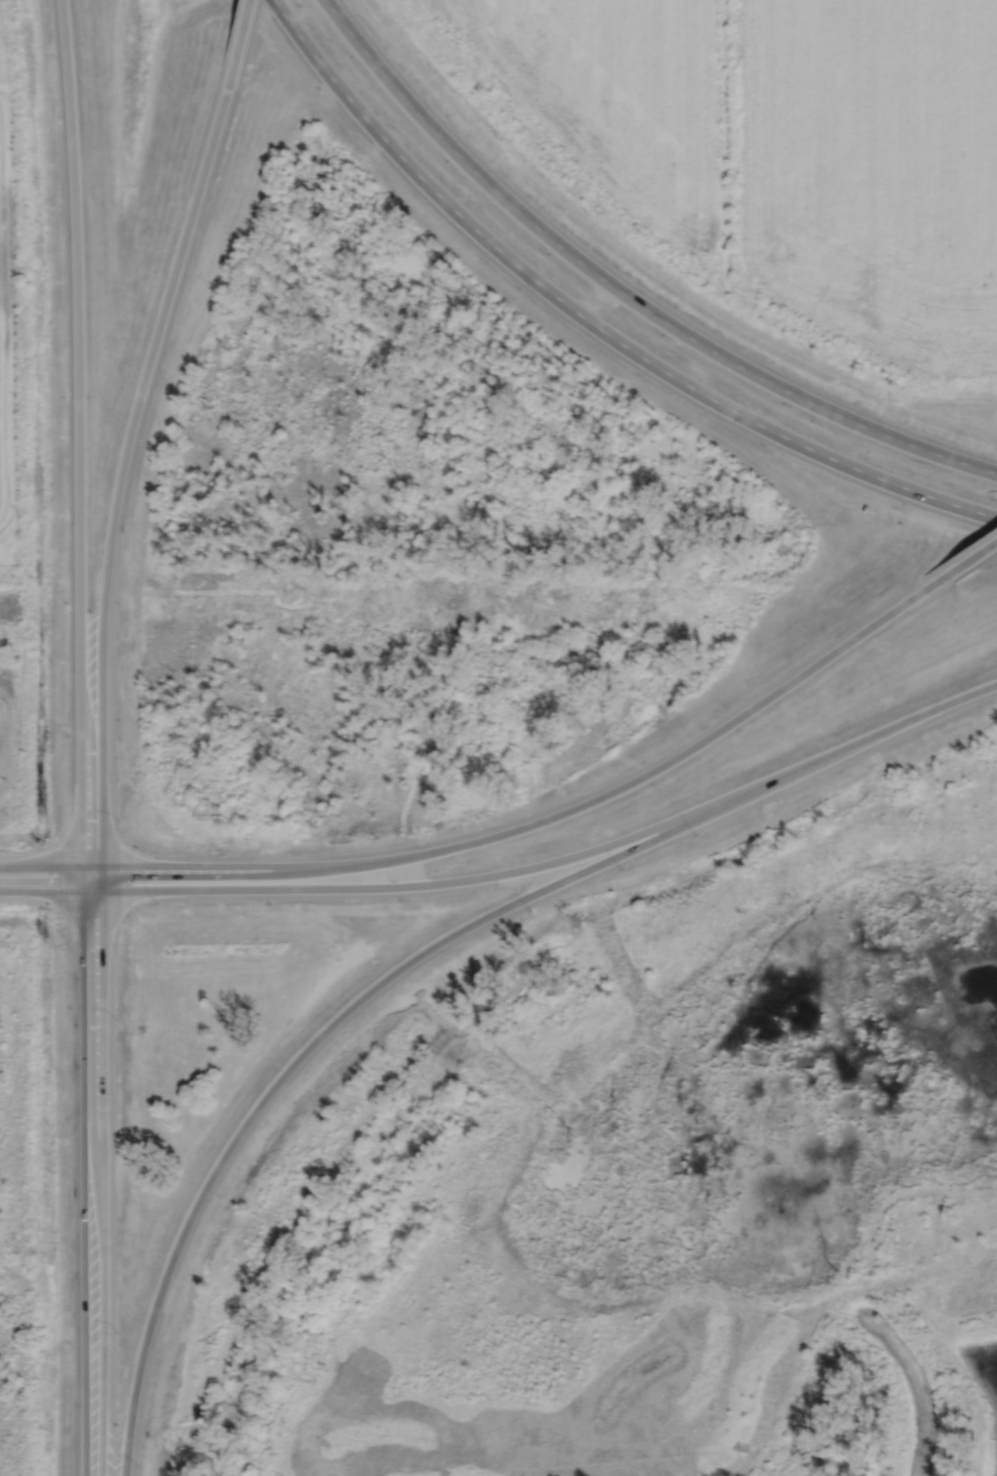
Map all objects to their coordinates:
road: (239, 43)
crop: (789, 148)
road: (622, 292)
road: (590, 321)
road: (79, 435)
road: (121, 473)
road: (963, 565)
road: (672, 760)
road: (39, 870)
road: (89, 871)
road: (241, 872)
road: (504, 872)
road: (38, 891)
road: (89, 892)
road: (427, 950)
road: (84, 1173)
road: (106, 1174)

